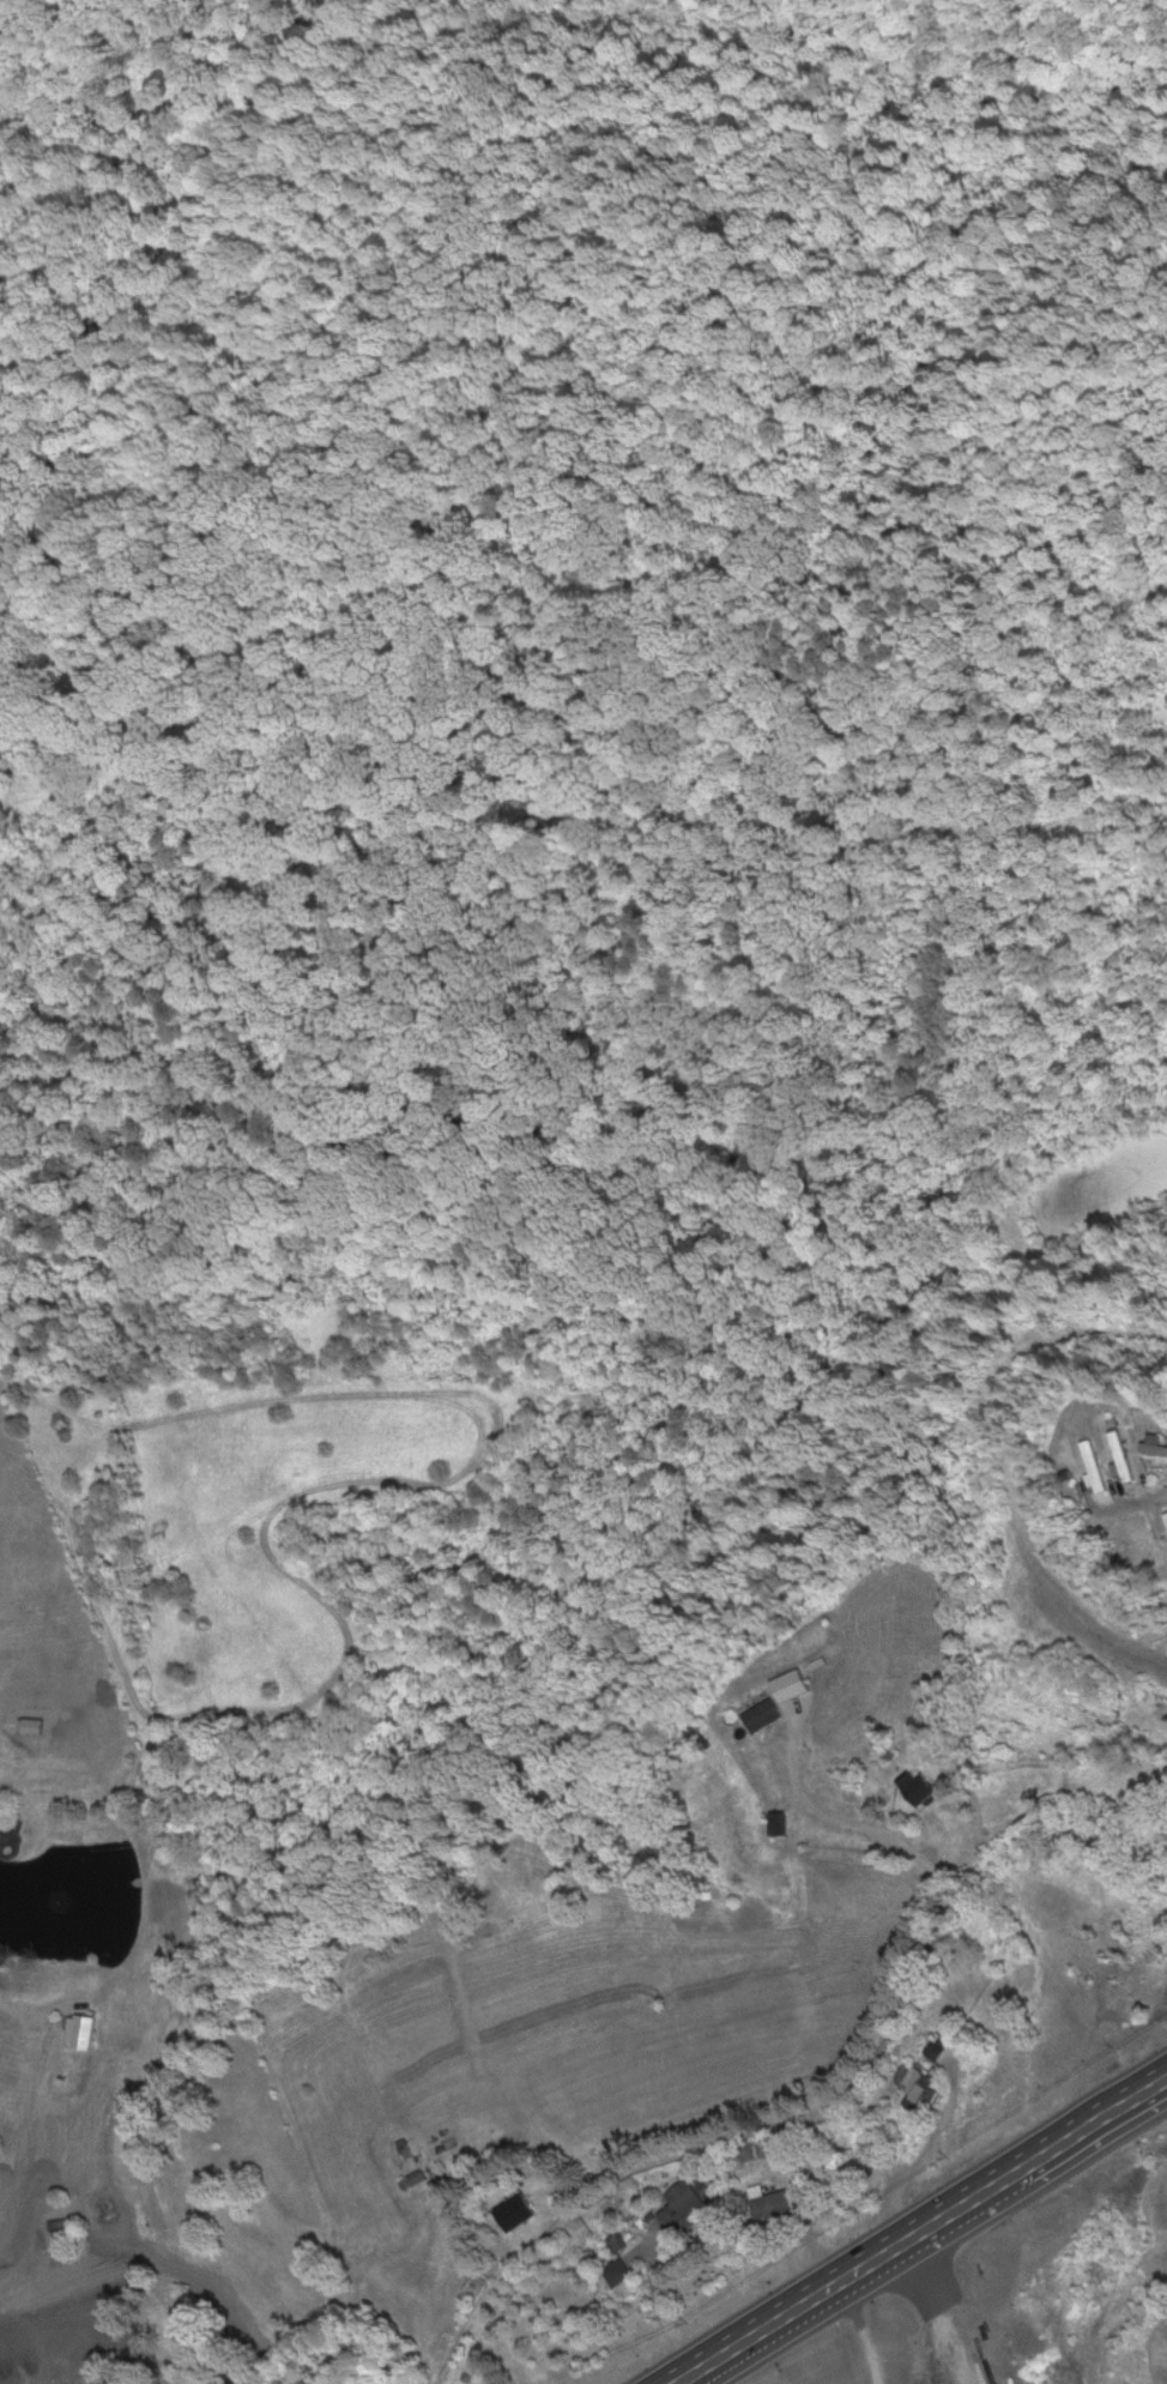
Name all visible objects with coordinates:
building: (1120, 1455)
building: (1092, 1465)
road: (1141, 1491)
building: (1165, 1516)
building: (1147, 1543)
building: (761, 1713)
building: (915, 1784)
building: (776, 1821)
road: (38, 2003)
building: (79, 2028)
building: (931, 2045)
building: (918, 2086)
building: (411, 2177)
building: (684, 2198)
building: (767, 2202)
building: (514, 2210)
road: (908, 2221)
road: (878, 2311)

